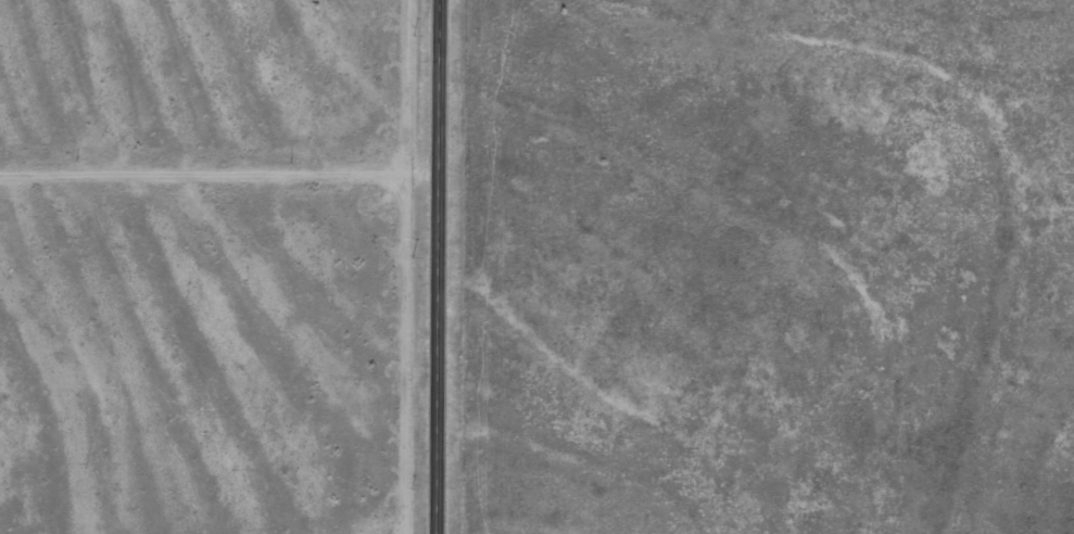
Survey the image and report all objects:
road: (222, 179)
road: (444, 267)

